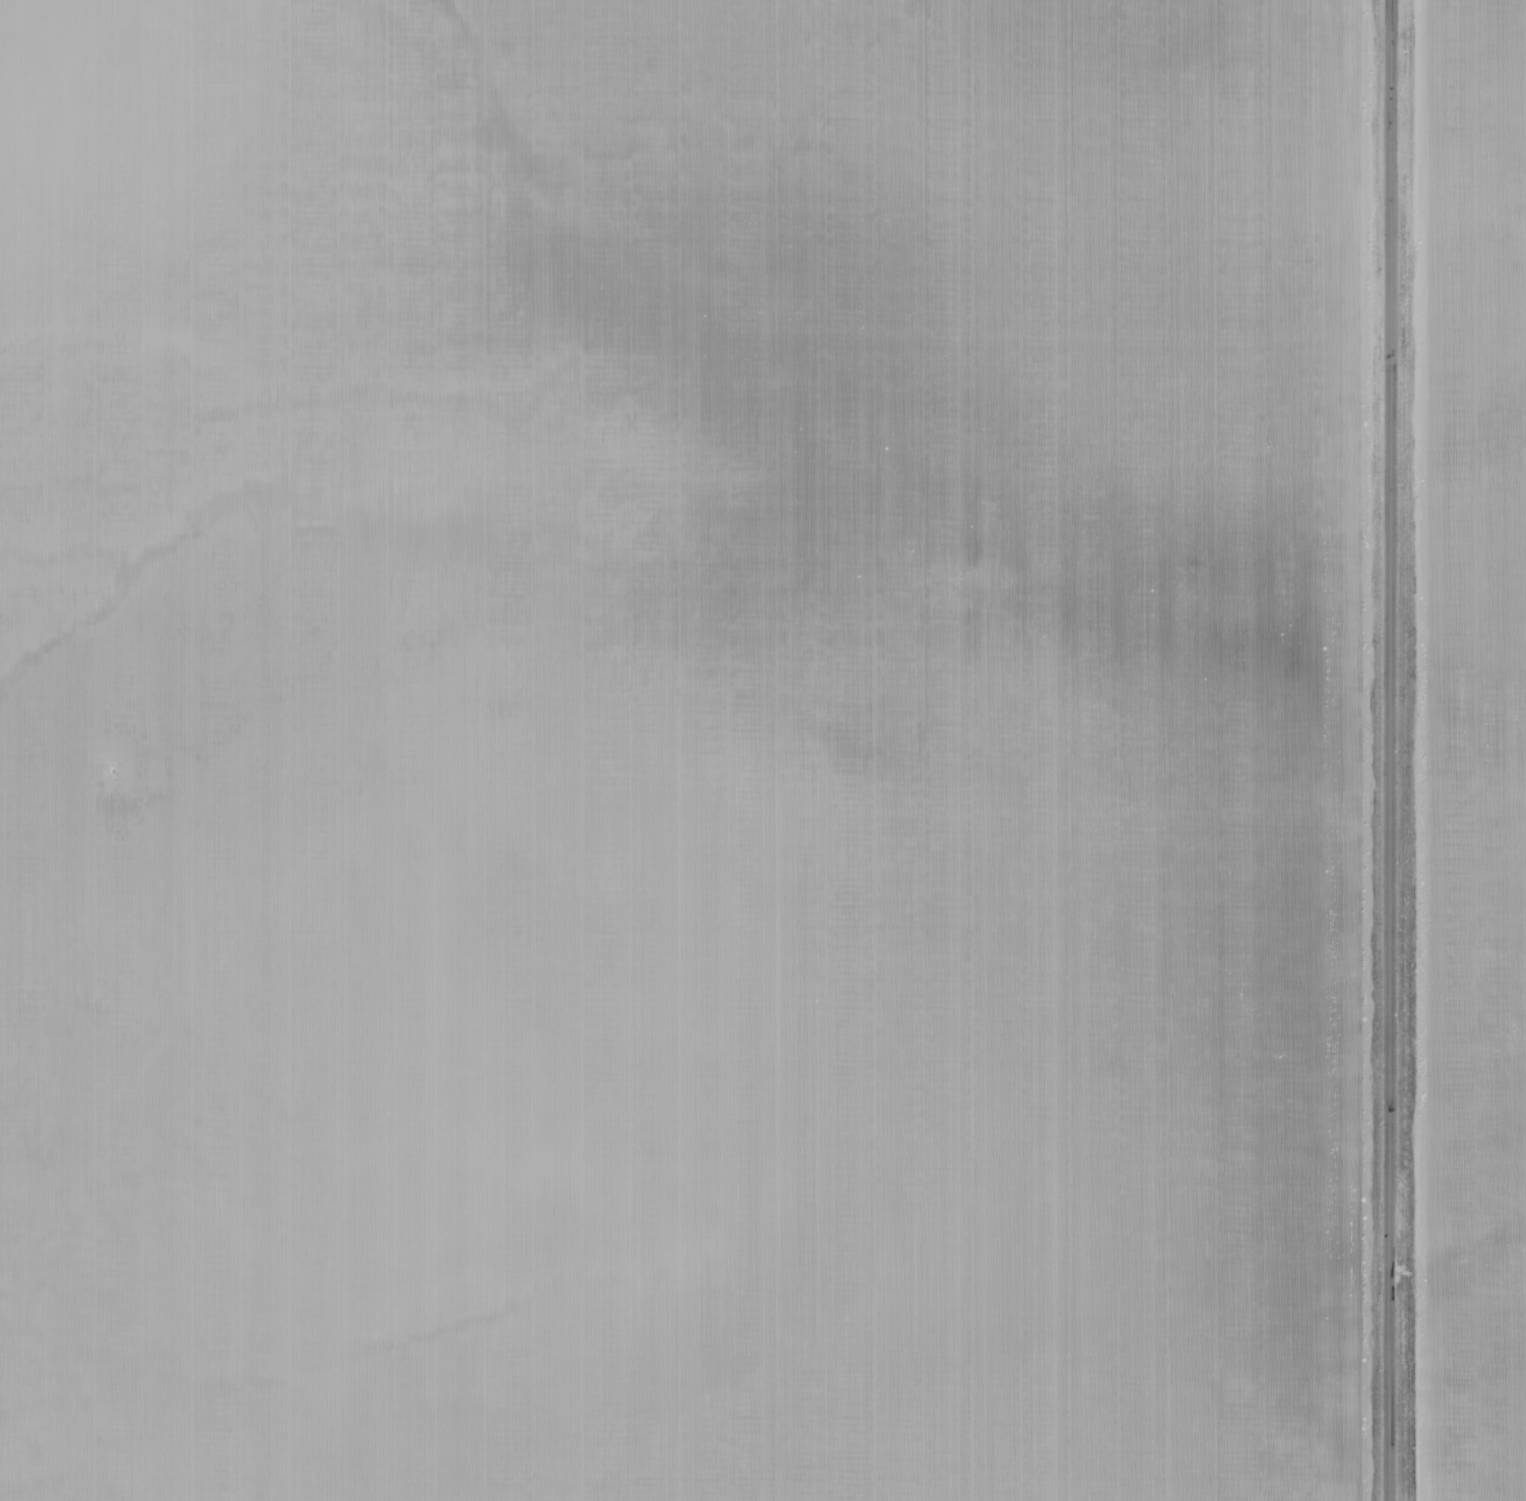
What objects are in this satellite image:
road: (1390, 750)

